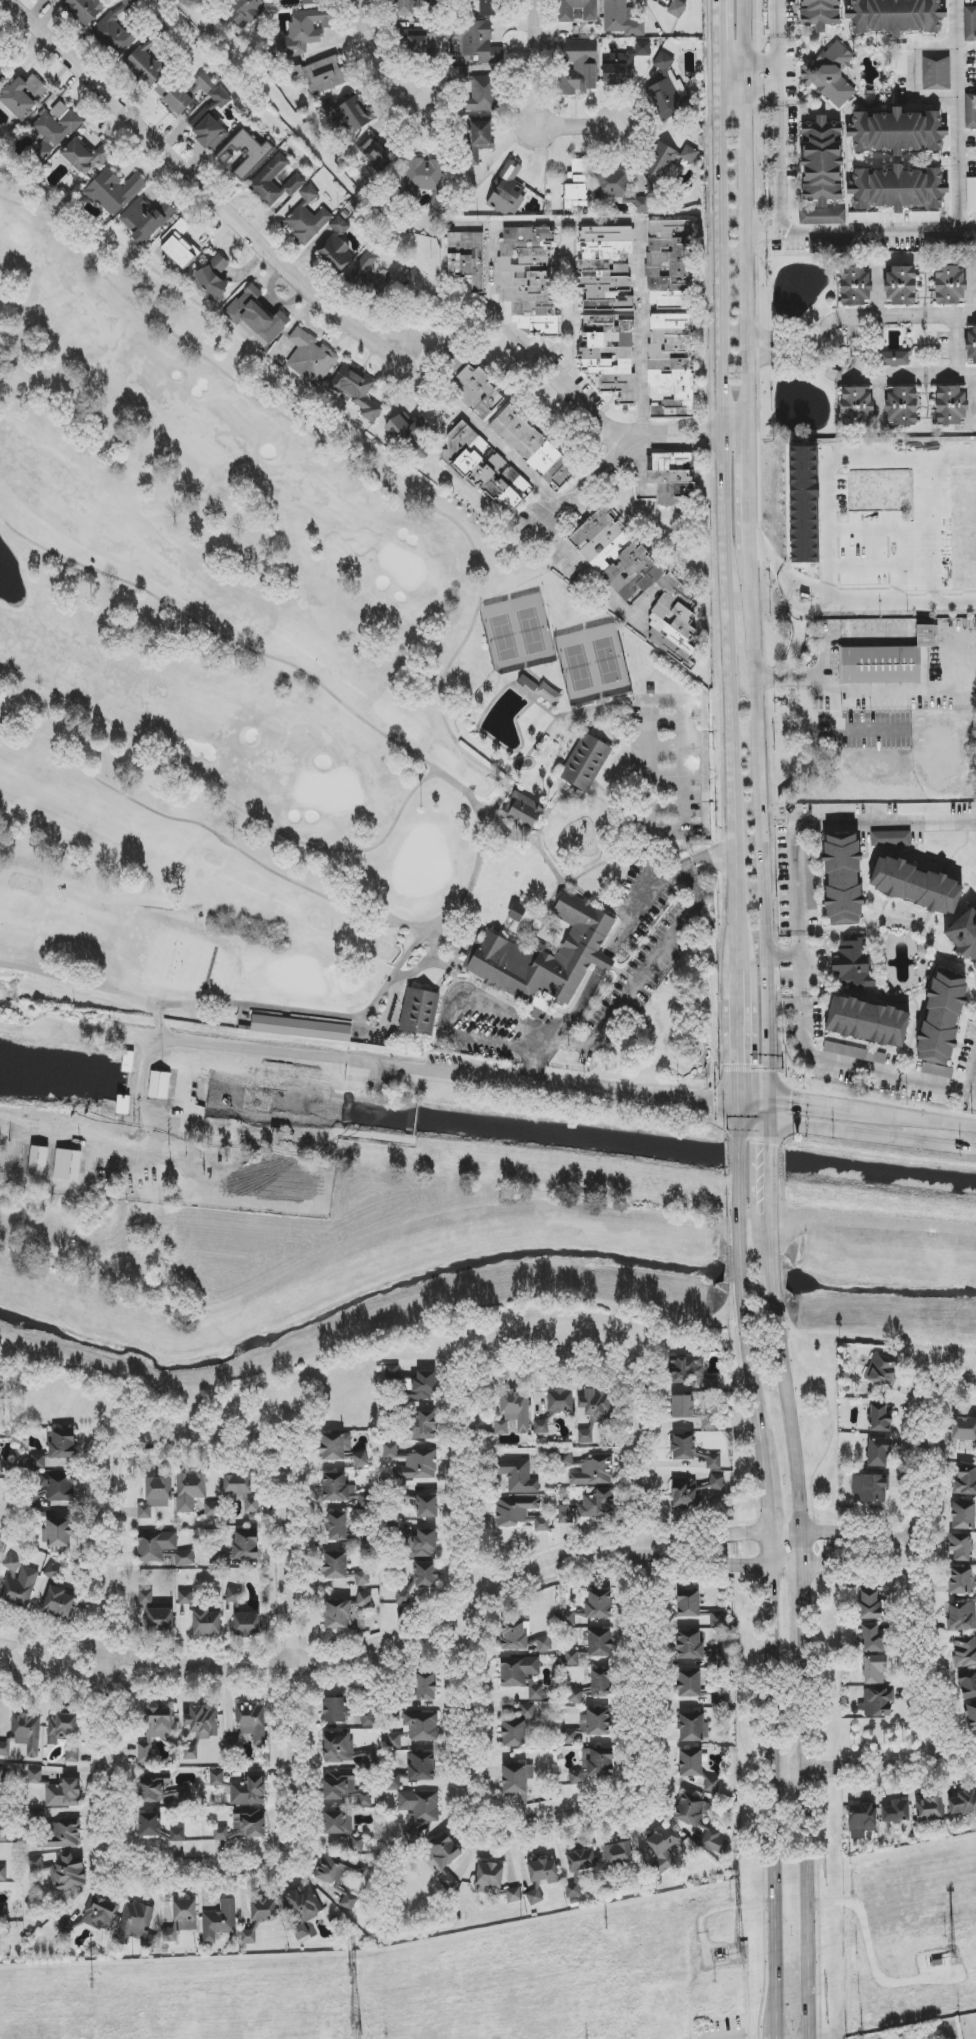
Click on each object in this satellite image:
building: (53, 0)
building: (308, 2)
building: (671, 5)
building: (402, 7)
building: (488, 8)
building: (85, 10)
building: (249, 11)
building: (820, 14)
building: (566, 15)
building: (896, 16)
building: (622, 19)
building: (970, 24)
building: (118, 28)
road: (722, 30)
building: (305, 31)
road: (776, 31)
building: (417, 44)
road: (745, 45)
building: (1, 49)
road: (750, 61)
road: (372, 62)
building: (625, 65)
road: (537, 66)
building: (147, 68)
building: (580, 69)
road: (917, 72)
building: (936, 74)
building: (2, 75)
road: (723, 75)
building: (830, 75)
road: (777, 77)
building: (205, 83)
building: (668, 91)
road: (749, 91)
building: (482, 93)
building: (23, 96)
building: (174, 98)
building: (970, 111)
building: (347, 114)
road: (957, 115)
building: (211, 122)
building: (54, 129)
road: (577, 130)
building: (896, 132)
building: (479, 140)
building: (246, 153)
building: (375, 153)
building: (689, 154)
building: (86, 156)
building: (665, 161)
road: (778, 161)
building: (822, 171)
building: (265, 177)
building: (426, 179)
road: (196, 180)
building: (576, 185)
building: (897, 189)
building: (620, 190)
building: (114, 191)
building: (507, 192)
building: (792, 192)
building: (971, 193)
building: (307, 217)
building: (145, 220)
road: (518, 224)
building: (339, 226)
road: (862, 232)
building: (179, 245)
building: (833, 246)
building: (335, 254)
building: (466, 258)
building: (670, 265)
road: (722, 266)
road: (749, 266)
building: (605, 267)
building: (371, 273)
building: (214, 275)
building: (528, 279)
building: (949, 285)
building: (855, 287)
building: (900, 287)
building: (256, 317)
road: (645, 332)
road: (956, 343)
building: (971, 343)
road: (786, 344)
road: (823, 344)
building: (610, 354)
building: (311, 358)
building: (894, 359)
building: (671, 366)
road: (556, 379)
building: (358, 392)
building: (856, 406)
building: (902, 406)
building: (951, 406)
building: (409, 434)
road: (684, 445)
building: (533, 448)
road: (510, 459)
road: (359, 468)
building: (486, 468)
building: (671, 477)
road: (750, 498)
building: (803, 504)
road: (550, 548)
building: (638, 582)
park: (519, 634)
road: (223, 636)
road: (741, 653)
building: (889, 662)
park: (594, 663)
building: (531, 681)
road: (913, 690)
building: (550, 694)
road: (837, 699)
road: (656, 702)
road: (731, 706)
park: (309, 716)
building: (586, 763)
building: (524, 811)
road: (260, 821)
road: (885, 824)
road: (764, 831)
road: (215, 833)
building: (891, 839)
building: (842, 879)
building: (916, 886)
building: (811, 887)
road: (626, 927)
building: (965, 935)
road: (421, 939)
road: (799, 941)
road: (438, 944)
road: (468, 946)
building: (546, 951)
building: (851, 963)
road: (800, 965)
road: (769, 970)
road: (78, 983)
building: (419, 1012)
road: (159, 1021)
building: (867, 1022)
building: (941, 1024)
building: (302, 1027)
road: (739, 1038)
road: (550, 1043)
road: (256, 1050)
building: (855, 1053)
traffic signals: (739, 1063)
road: (534, 1067)
road: (892, 1078)
road: (972, 1079)
building: (159, 1085)
road: (557, 1085)
traffic signals: (791, 1099)
road: (813, 1102)
traffic signals: (712, 1104)
road: (918, 1116)
road: (746, 1121)
road: (740, 1122)
road: (769, 1123)
road: (869, 1136)
road: (125, 1143)
traffic signals: (752, 1143)
traffic signals: (770, 1146)
road: (739, 1156)
road: (752, 1156)
road: (770, 1157)
building: (38, 1161)
building: (67, 1165)
road: (755, 1222)
road: (743, 1309)
road: (784, 1364)
road: (535, 1365)
building: (690, 1371)
building: (882, 1371)
building: (392, 1372)
building: (424, 1386)
road: (944, 1388)
building: (560, 1402)
building: (692, 1410)
building: (514, 1411)
building: (593, 1412)
building: (880, 1419)
building: (423, 1425)
building: (542, 1426)
building: (963, 1429)
road: (206, 1437)
building: (61, 1447)
building: (683, 1447)
building: (878, 1452)
building: (361, 1459)
building: (714, 1462)
building: (418, 1465)
building: (1, 1467)
building: (594, 1472)
building: (517, 1475)
building: (965, 1483)
building: (237, 1484)
building: (58, 1487)
building: (337, 1488)
building: (870, 1488)
building: (190, 1491)
building: (694, 1492)
road: (769, 1495)
building: (155, 1496)
building: (365, 1500)
building: (251, 1505)
building: (597, 1505)
building: (425, 1506)
building: (212, 1510)
building: (520, 1512)
building: (565, 1514)
building: (963, 1516)
building: (337, 1526)
building: (56, 1533)
building: (424, 1543)
building: (155, 1546)
building: (246, 1546)
building: (960, 1548)
road: (859, 1552)
building: (185, 1558)
building: (217, 1558)
building: (336, 1564)
building: (12, 1565)
building: (52, 1572)
building: (426, 1575)
building: (362, 1578)
building: (960, 1580)
road: (916, 1585)
building: (20, 1588)
building: (145, 1596)
building: (234, 1597)
building: (403, 1597)
road: (803, 1598)
building: (364, 1600)
building: (58, 1603)
building: (688, 1603)
building: (869, 1604)
building: (590, 1608)
building: (337, 1613)
building: (201, 1616)
building: (961, 1616)
building: (161, 1618)
building: (717, 1619)
building: (247, 1625)
building: (514, 1636)
building: (873, 1638)
building: (600, 1643)
building: (544, 1644)
road: (408, 1645)
building: (689, 1645)
building: (965, 1652)
building: (571, 1659)
building: (874, 1670)
building: (521, 1675)
building: (689, 1683)
building: (967, 1684)
building: (426, 1687)
building: (593, 1687)
building: (718, 1697)
building: (876, 1702)
building: (335, 1710)
building: (528, 1711)
building: (971, 1714)
building: (368, 1718)
building: (590, 1725)
building: (248, 1726)
building: (422, 1726)
building: (201, 1727)
building: (691, 1728)
building: (155, 1730)
building: (27, 1732)
building: (64, 1733)
building: (513, 1733)
building: (4, 1749)
building: (344, 1751)
building: (691, 1763)
building: (593, 1766)
building: (420, 1767)
road: (876, 1770)
building: (2, 1775)
building: (34, 1776)
building: (217, 1778)
building: (516, 1778)
building: (712, 1784)
building: (150, 1788)
building: (344, 1788)
building: (248, 1792)
building: (64, 1794)
road: (777, 1794)
building: (963, 1803)
building: (420, 1806)
building: (691, 1809)
building: (929, 1809)
building: (895, 1812)
building: (861, 1820)
road: (580, 1821)
building: (338, 1822)
building: (149, 1825)
building: (244, 1826)
building: (3, 1834)
building: (178, 1835)
building: (63, 1836)
building: (715, 1842)
building: (356, 1843)
road: (804, 1843)
building: (663, 1850)
building: (618, 1854)
building: (444, 1859)
building: (578, 1867)
building: (337, 1869)
road: (203, 1870)
building: (3, 1873)
building: (62, 1873)
building: (489, 1875)
building: (541, 1877)
power tower: (829, 1883)
building: (513, 1895)
building: (348, 1902)
building: (301, 1908)
building: (1, 1913)
building: (100, 1914)
building: (180, 1917)
building: (260, 1917)
building: (219, 1921)
building: (137, 1925)
power tower: (605, 1925)
power tower: (741, 1954)
power tower: (953, 1959)
power tower: (351, 1976)
power tower: (92, 1984)
power tower: (827, 2020)
power tower: (357, 2029)
road: (721, 2037)

